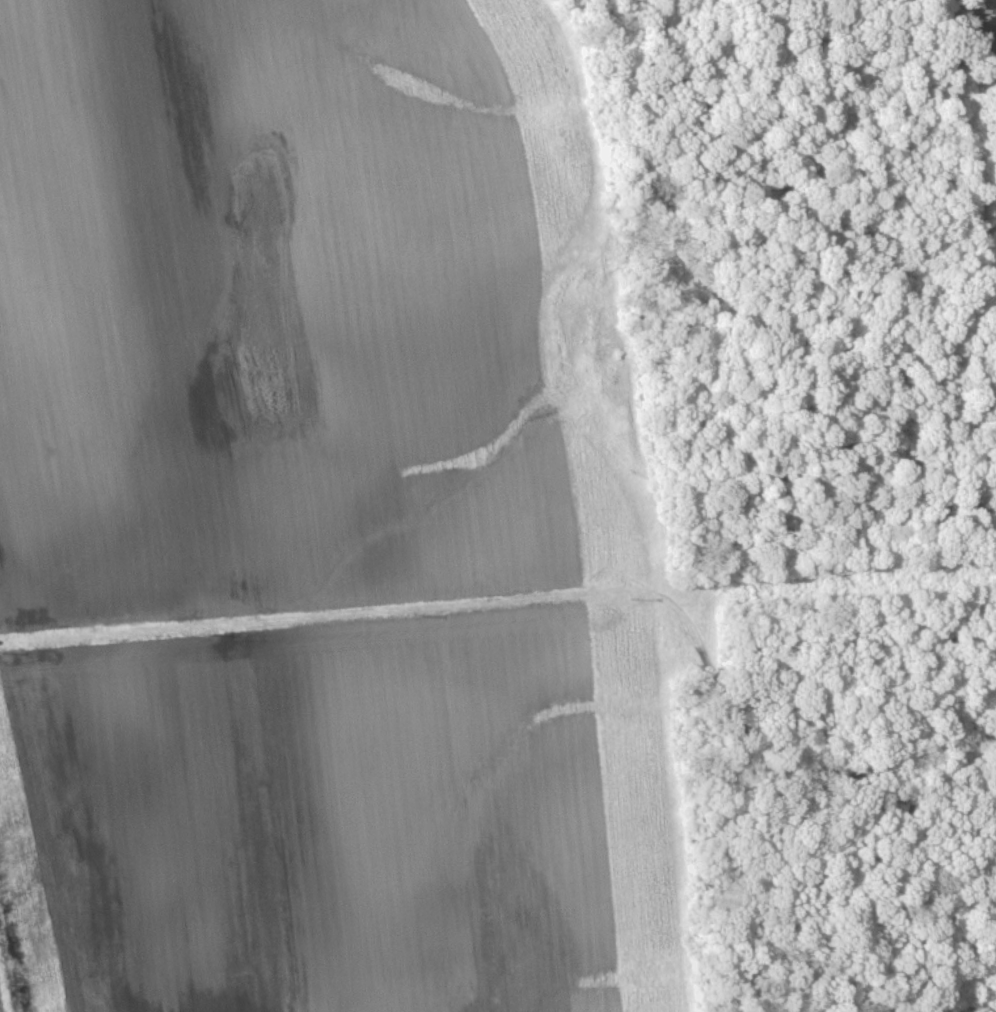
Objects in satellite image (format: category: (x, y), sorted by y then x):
building: (984, 37)

